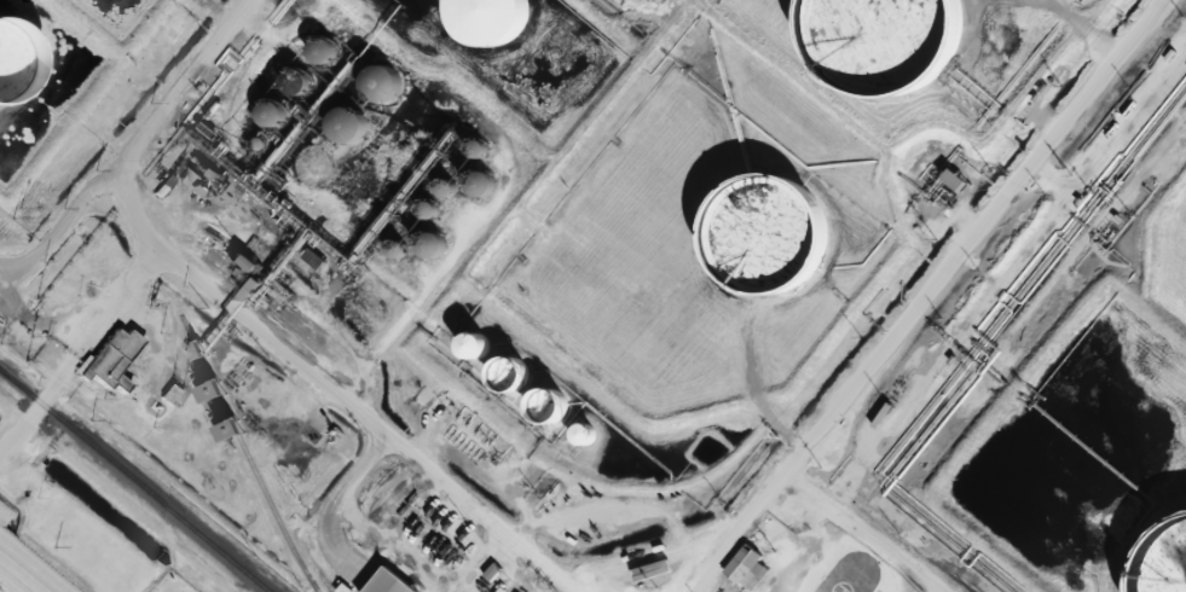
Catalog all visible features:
building: (490, 19)
storage tank: (490, 19)
building: (887, 41)
storage tank: (887, 41)
building: (325, 50)
building: (13, 62)
storage tank: (13, 62)
building: (300, 82)
building: (383, 82)
building: (274, 114)
building: (349, 124)
road: (121, 135)
building: (258, 144)
building: (480, 149)
building: (190, 178)
building: (955, 179)
building: (484, 184)
building: (449, 188)
building: (429, 210)
building: (770, 236)
storage tank: (770, 236)
building: (434, 245)
building: (398, 250)
road: (110, 298)
road: (918, 300)
building: (478, 347)
building: (196, 352)
building: (112, 358)
building: (513, 373)
building: (214, 390)
building: (551, 406)
road: (374, 414)
building: (584, 435)
railway: (249, 452)
railway: (134, 481)
road: (873, 526)
building: (739, 558)
building: (1164, 562)
storage tank: (1164, 562)
road: (22, 573)
building: (384, 582)
helipad: (843, 584)

